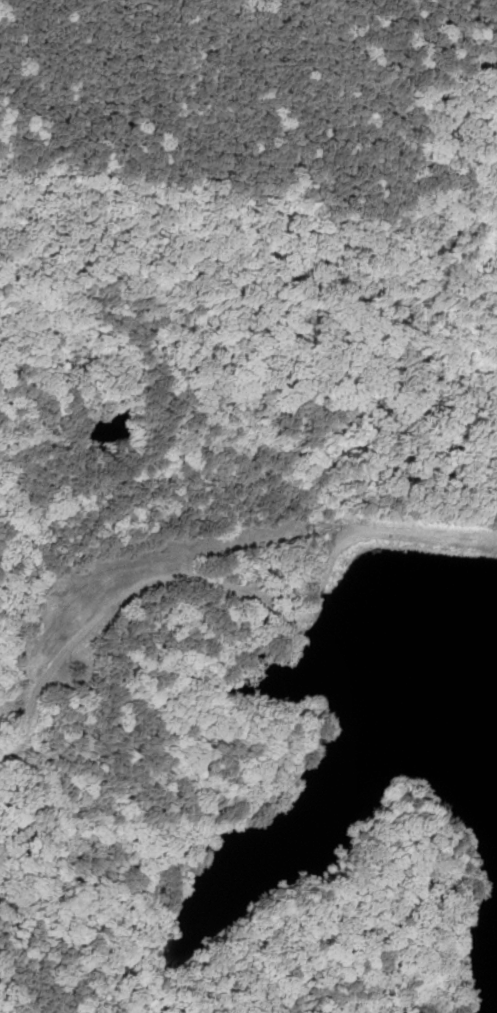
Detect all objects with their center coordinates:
road: (227, 584)

